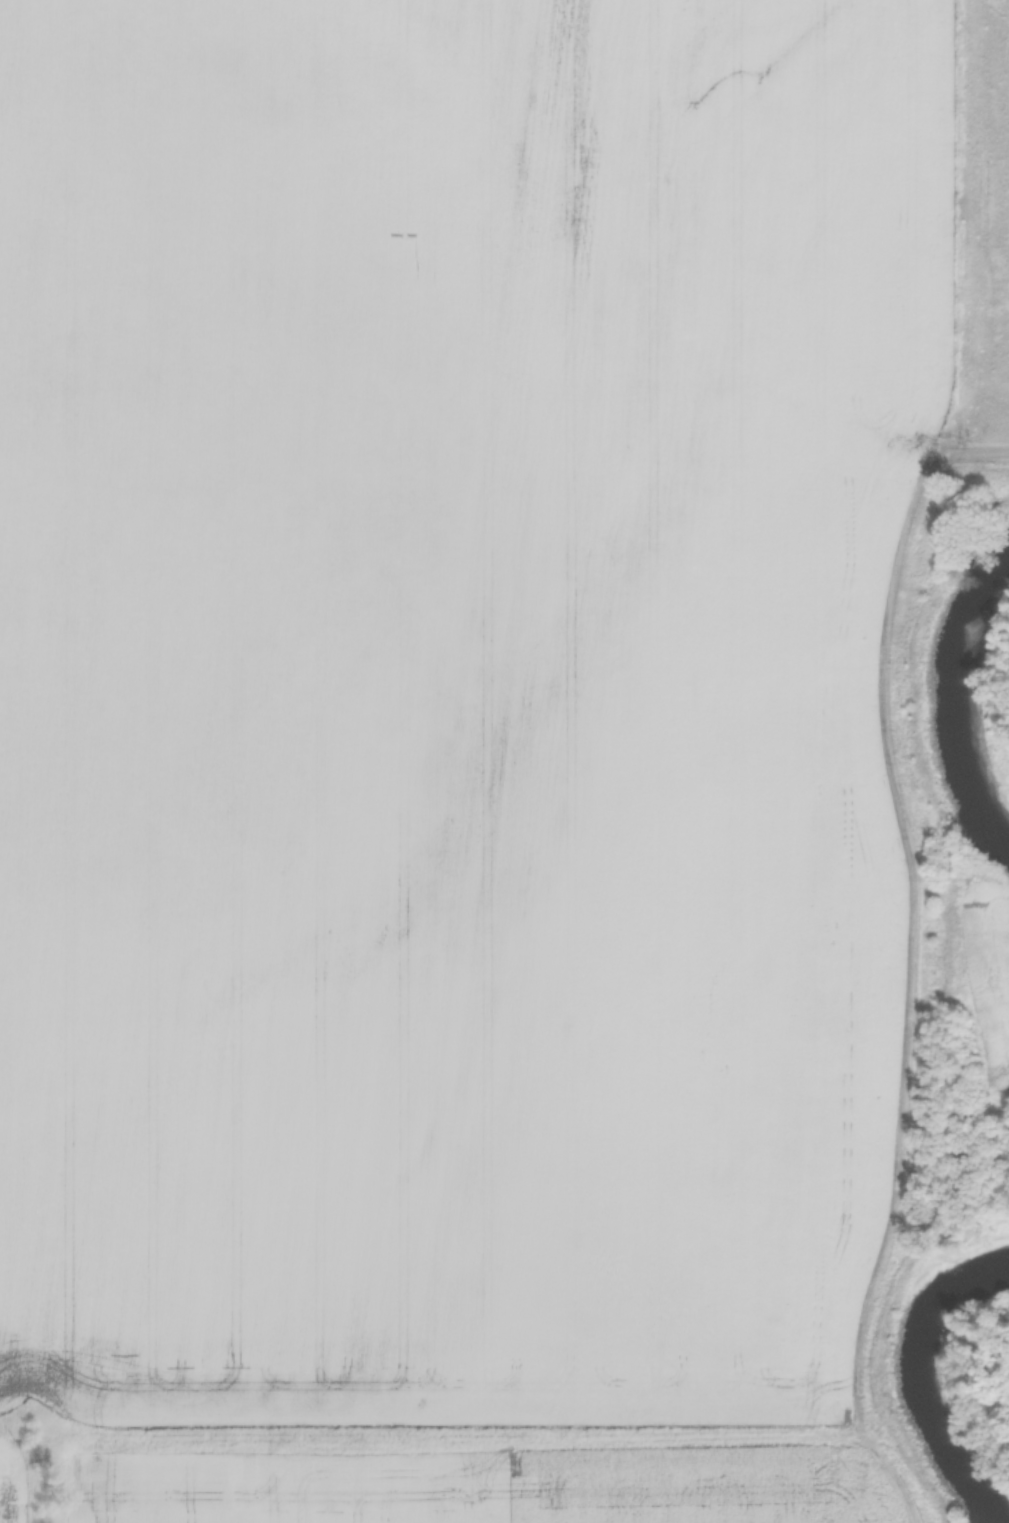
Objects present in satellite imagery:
river: (953, 694)
river: (920, 1371)

